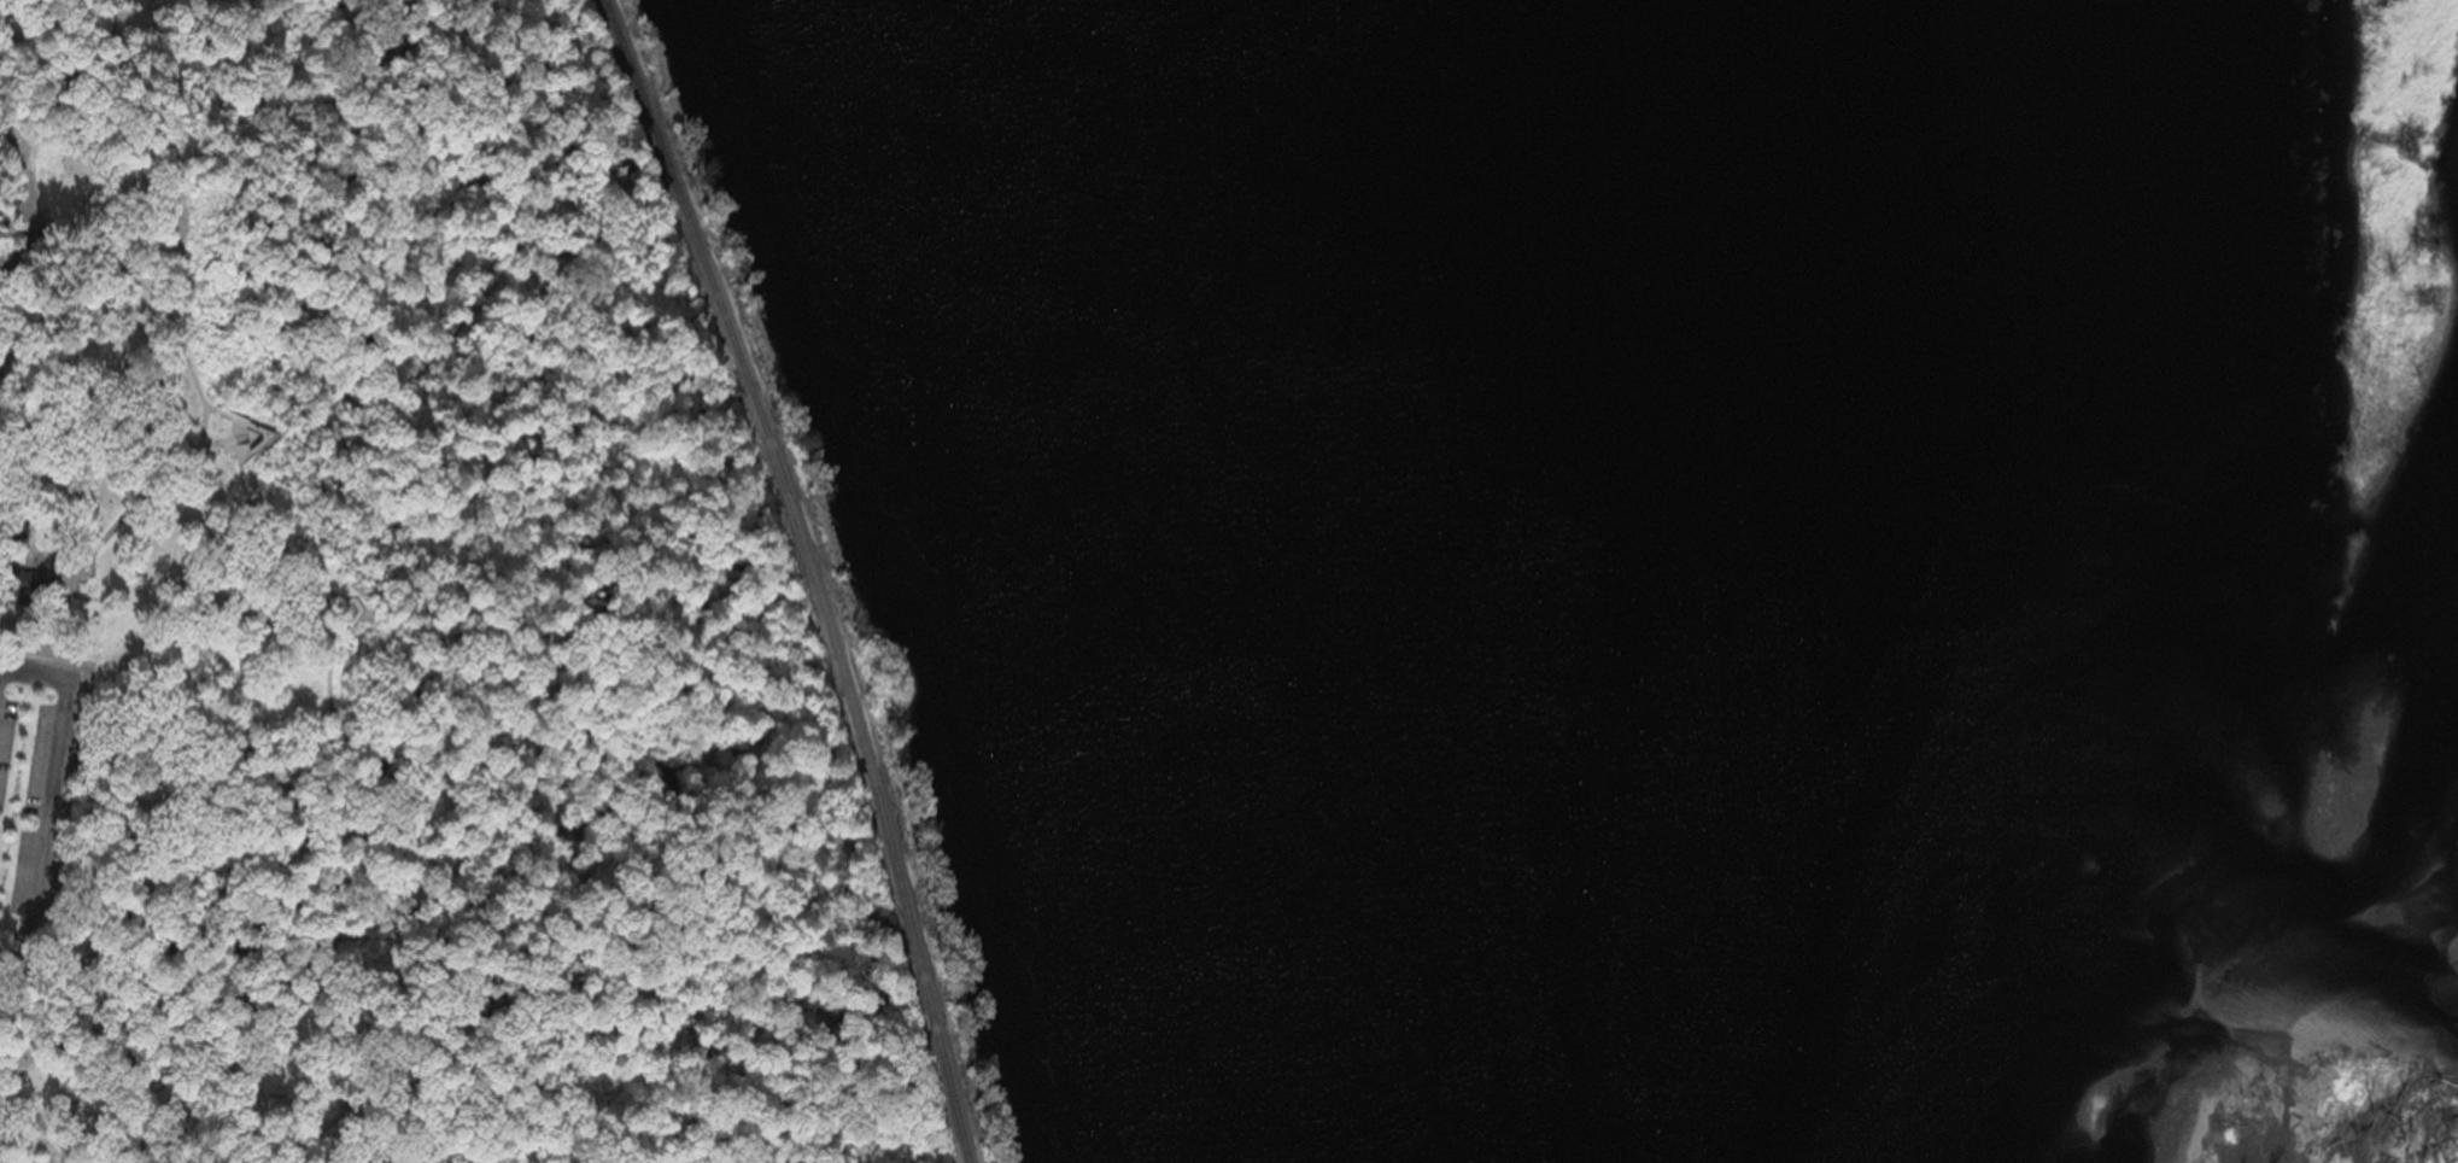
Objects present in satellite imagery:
road: (176, 339)
railway: (814, 572)
building: (28, 584)
river: (1276, 584)
road: (12, 654)
road: (49, 800)
road: (27, 1144)

